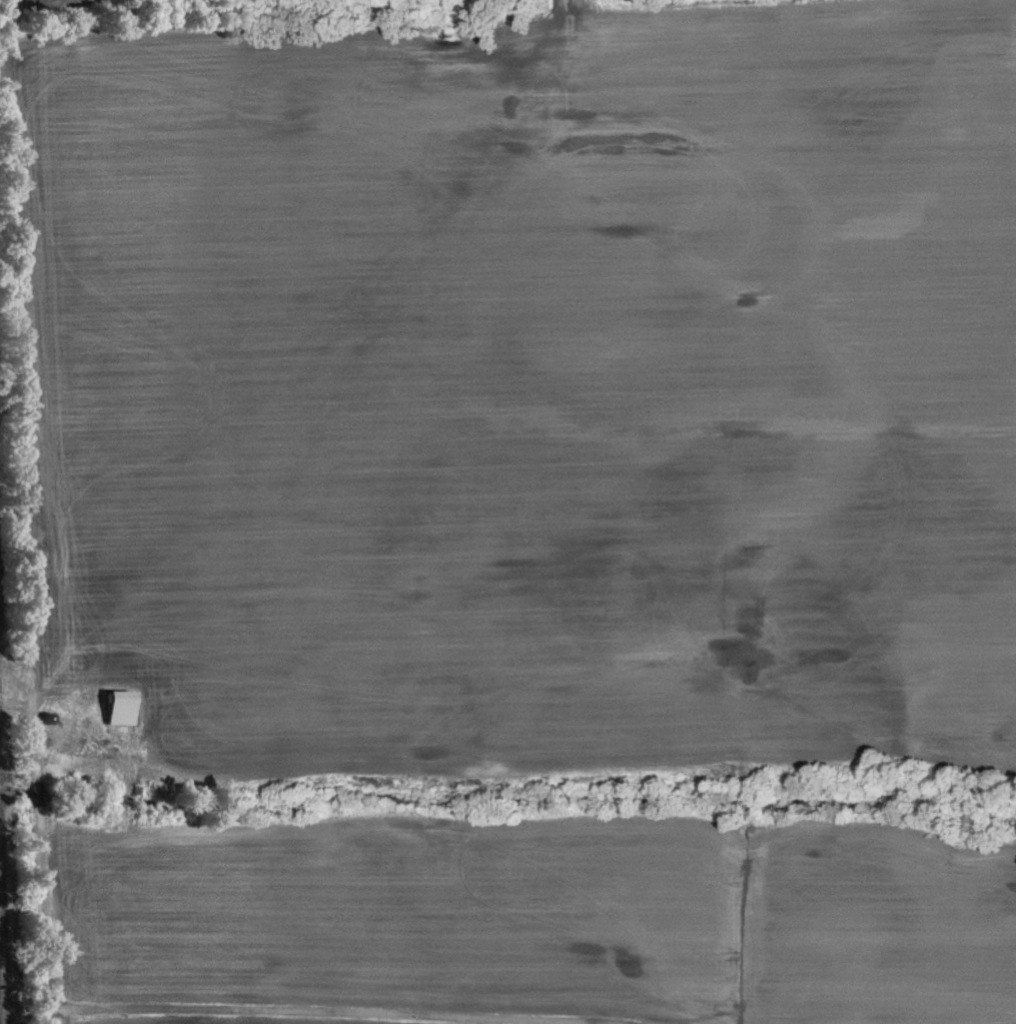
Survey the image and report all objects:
building: (126, 709)
road: (390, 830)
road: (68, 890)
railway: (3, 949)
road: (21, 1008)

